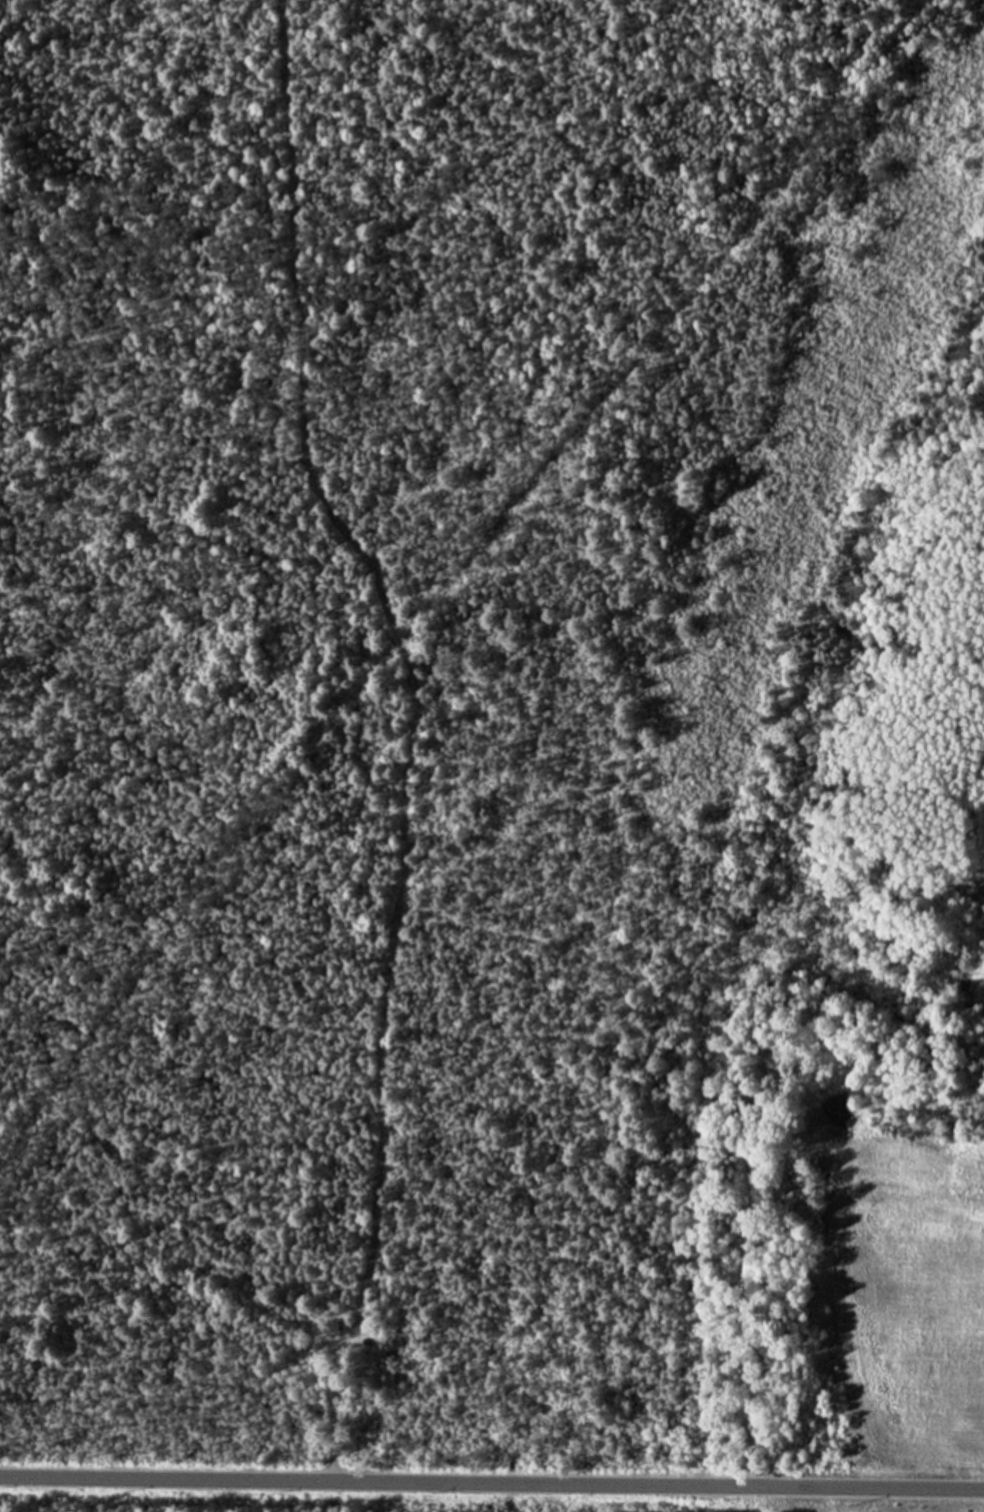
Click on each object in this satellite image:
road: (491, 1483)

